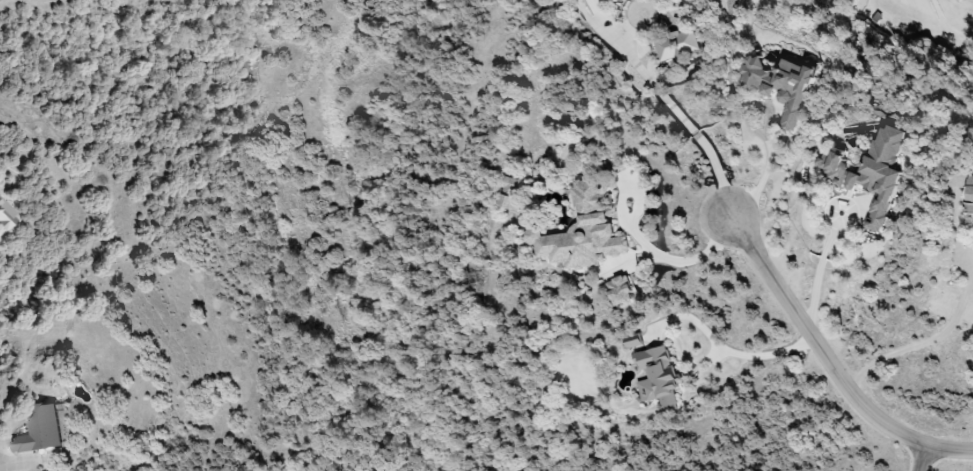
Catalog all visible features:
building: (609, 0)
building: (676, 45)
building: (780, 86)
road: (670, 106)
building: (870, 173)
road: (760, 183)
building: (969, 197)
building: (5, 216)
building: (581, 231)
road: (693, 262)
road: (819, 270)
building: (619, 291)
road: (919, 342)
road: (725, 352)
road: (830, 367)
building: (656, 378)
building: (38, 430)
road: (920, 459)
road: (3, 464)
road: (15, 465)

